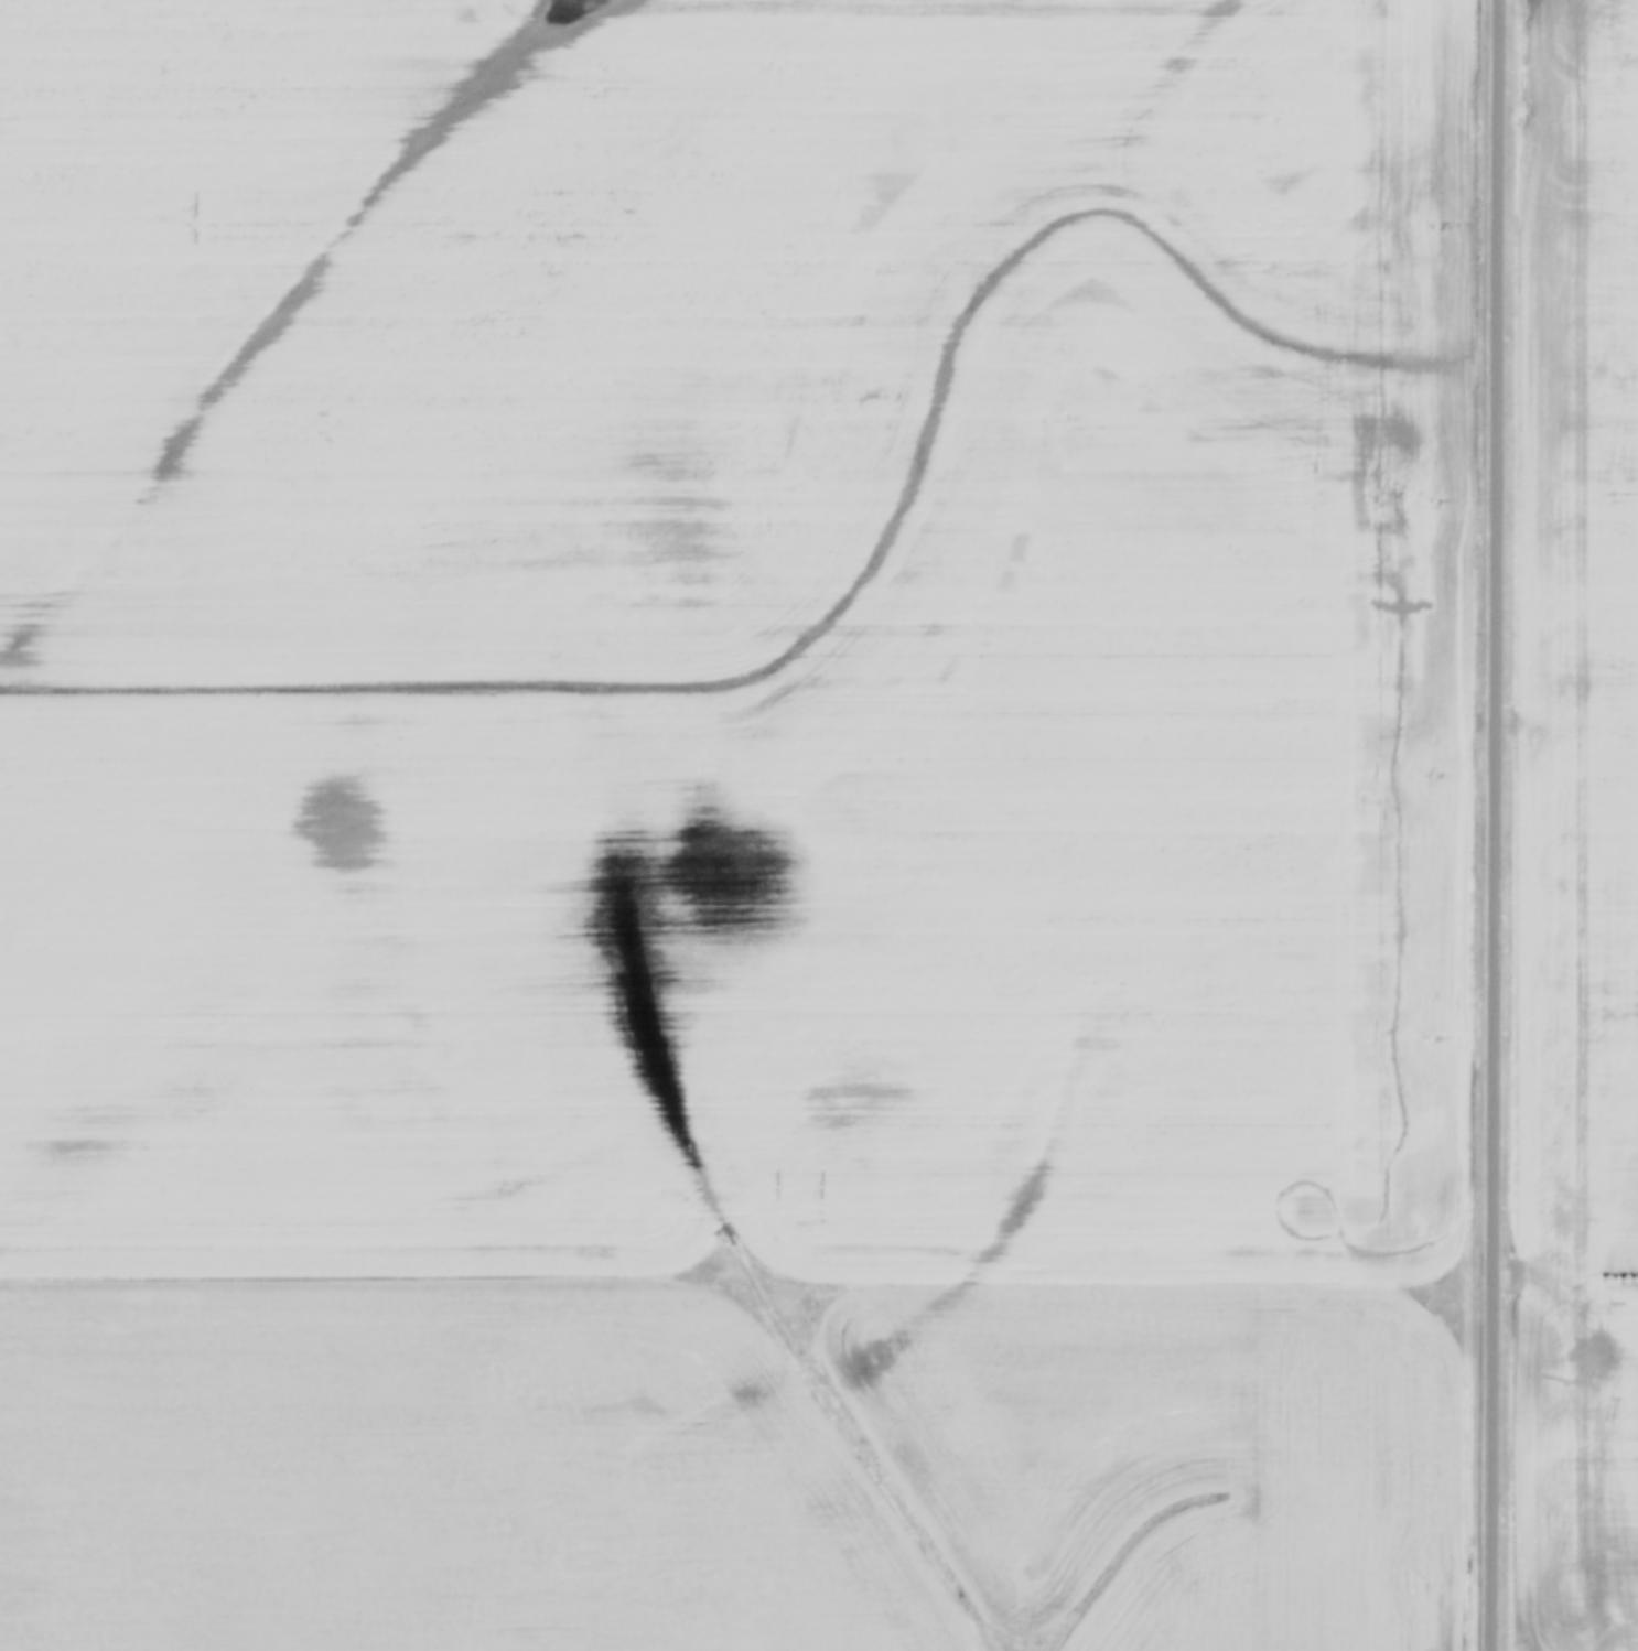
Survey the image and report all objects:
road: (1507, 825)

